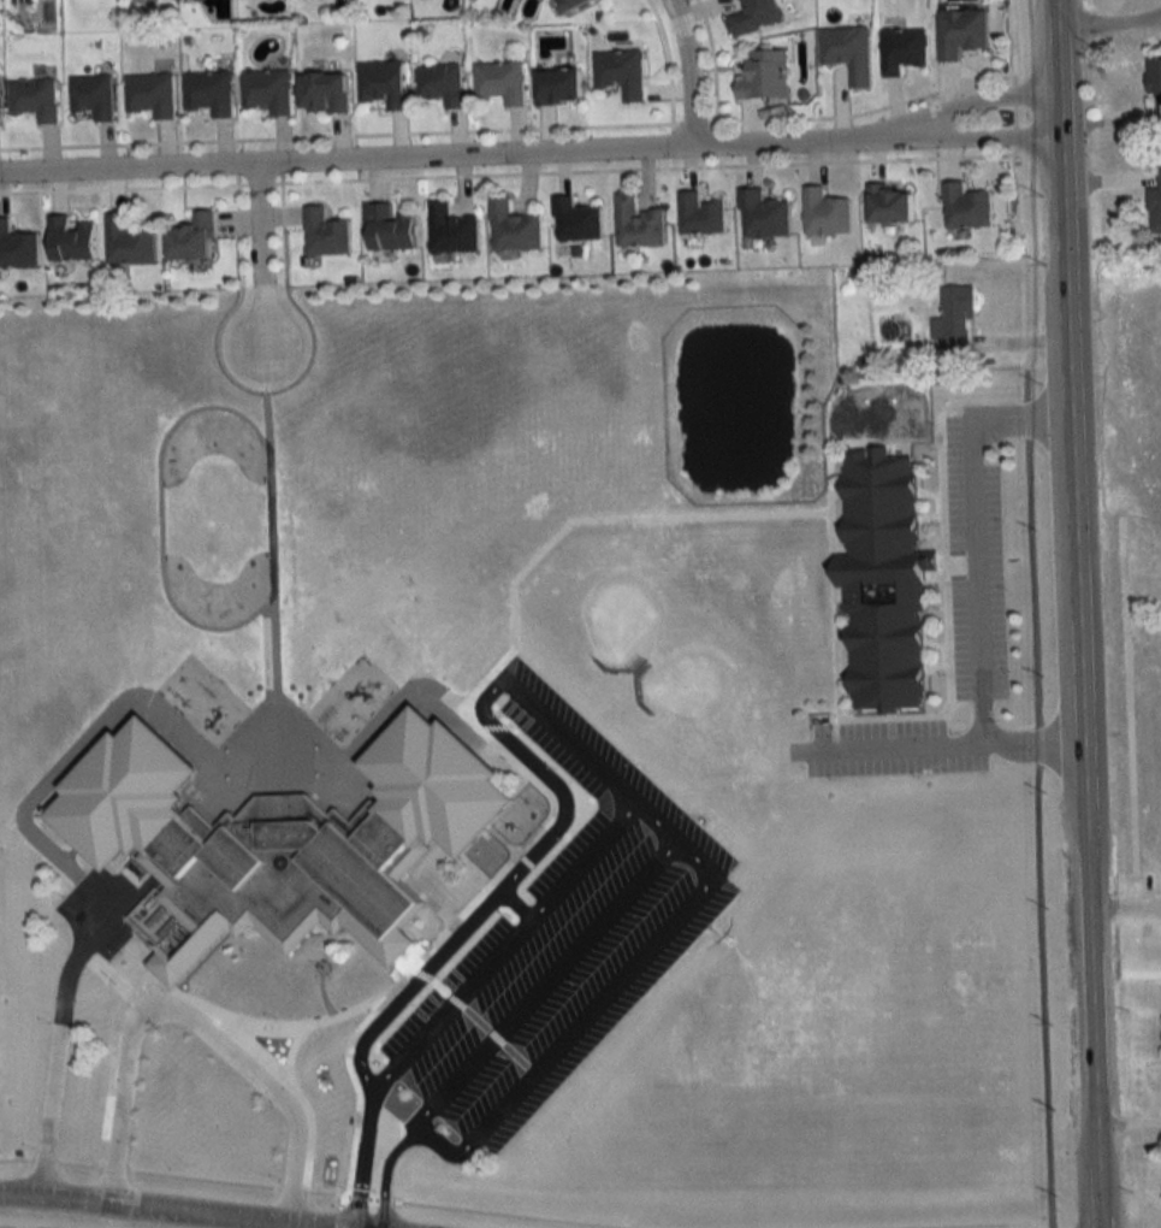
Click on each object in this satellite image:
building: (570, 4)
building: (754, 16)
road: (1109, 22)
building: (960, 31)
building: (902, 49)
building: (848, 52)
road: (667, 61)
road: (710, 64)
road: (689, 70)
building: (621, 72)
building: (766, 75)
building: (502, 82)
building: (383, 83)
building: (1155, 83)
building: (442, 84)
building: (558, 85)
building: (267, 90)
building: (208, 93)
building: (324, 93)
building: (150, 95)
building: (91, 96)
building: (34, 99)
road: (973, 100)
road: (863, 111)
road: (692, 122)
road: (1017, 126)
road: (339, 134)
road: (976, 137)
road: (446, 152)
road: (640, 167)
road: (256, 183)
road: (123, 188)
building: (890, 205)
building: (966, 207)
building: (1155, 207)
building: (825, 213)
building: (701, 216)
building: (763, 216)
building: (576, 220)
building: (638, 223)
building: (389, 229)
building: (514, 229)
building: (450, 231)
road: (259, 234)
building: (325, 234)
building: (192, 238)
building: (70, 240)
building: (128, 242)
building: (17, 247)
road: (280, 319)
building: (954, 324)
road: (266, 389)
building: (883, 579)
road: (976, 579)
road: (1078, 614)
road: (571, 742)
road: (900, 743)
building: (283, 840)
road: (499, 949)
road: (420, 974)
road: (438, 985)
road: (537, 988)
road: (192, 1017)
road: (484, 1027)
road: (61, 1028)
road: (362, 1157)
road: (16, 1158)
road: (42, 1159)
road: (77, 1164)
road: (112, 1168)
road: (384, 1176)
road: (201, 1179)
road: (288, 1188)
road: (322, 1192)
road: (356, 1195)
road: (371, 1197)
road: (338, 1199)
road: (381, 1199)
road: (167, 1209)
road: (509, 1212)
road: (337, 1216)
road: (369, 1222)
road: (948, 1223)
road: (29, 1226)

